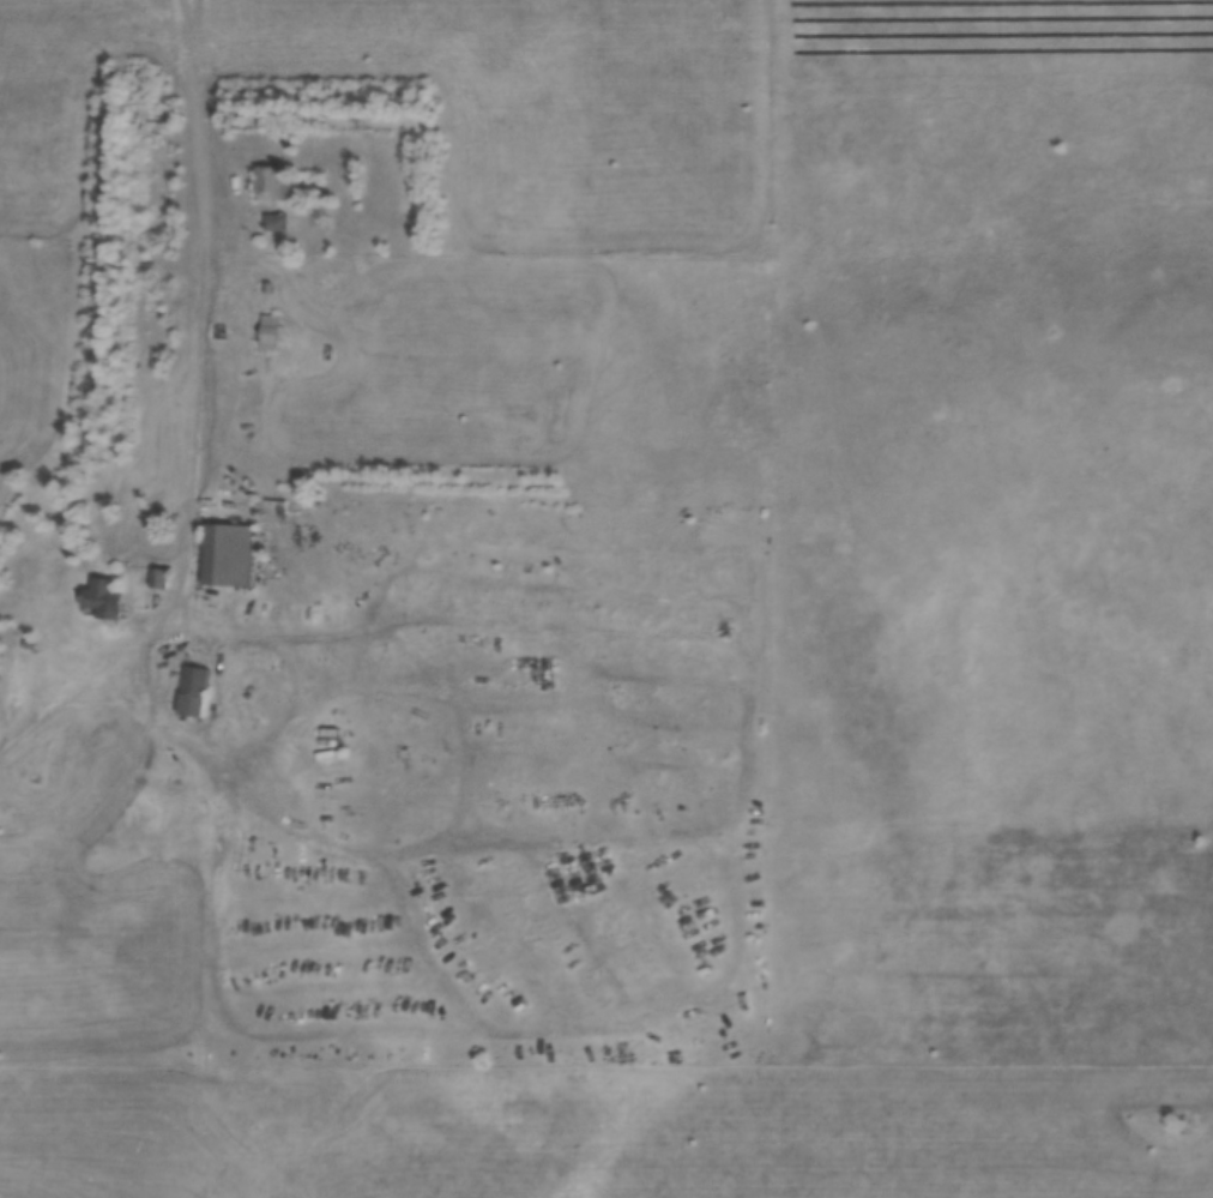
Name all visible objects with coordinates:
building: (276, 182)
building: (278, 221)
road: (201, 320)
building: (266, 331)
building: (223, 553)
building: (156, 577)
building: (99, 596)
building: (191, 690)
road: (746, 885)

